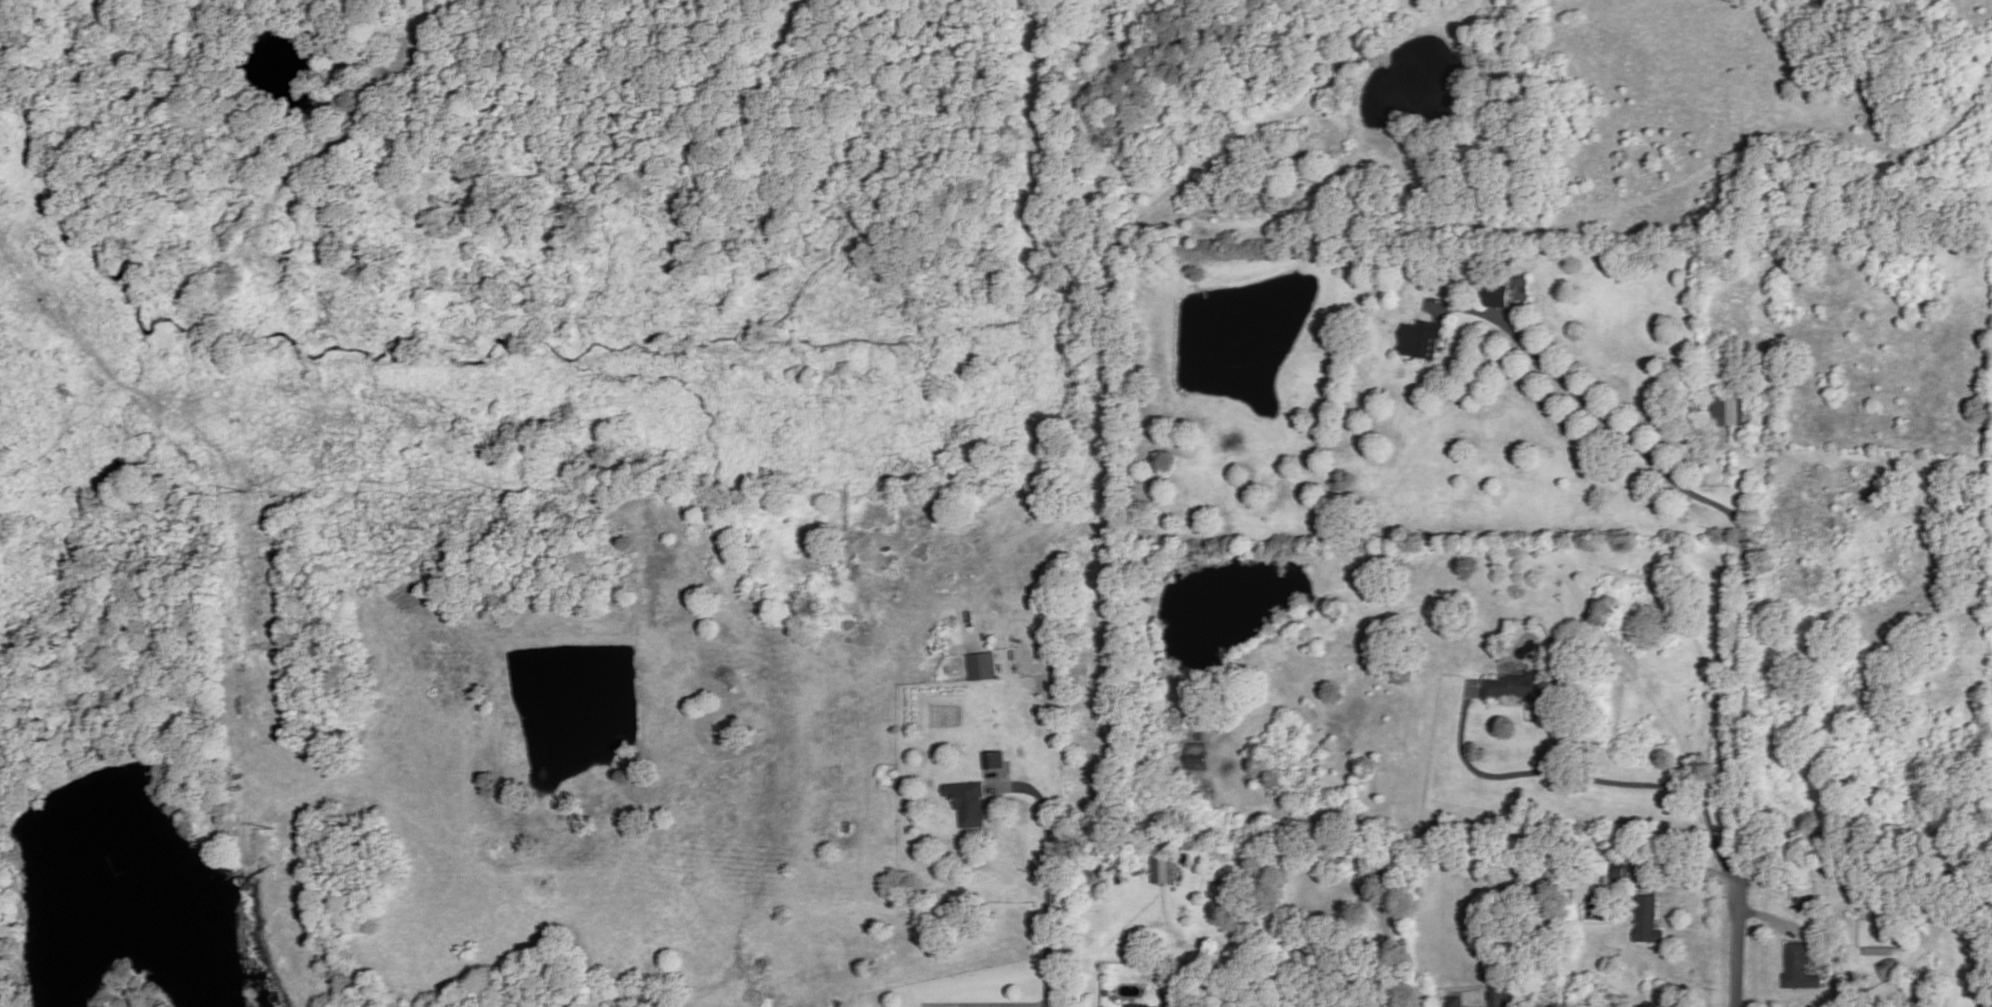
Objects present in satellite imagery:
road: (251, 226)
building: (1522, 289)
building: (1496, 296)
building: (1423, 340)
building: (1727, 408)
power tower: (247, 493)
building: (982, 665)
building: (1517, 687)
road: (1531, 720)
road: (1561, 743)
building: (1197, 758)
building: (993, 760)
road: (1591, 779)
building: (968, 803)
building: (1299, 806)
power tower: (277, 830)
road: (1688, 868)
building: (1160, 869)
building: (1618, 873)
road: (1048, 876)
road: (1771, 919)
building: (1647, 921)
road: (1737, 945)
road: (1783, 952)
building: (1800, 969)
building: (1499, 997)
building: (1455, 1002)
road: (987, 1006)
building: (1137, 1006)

